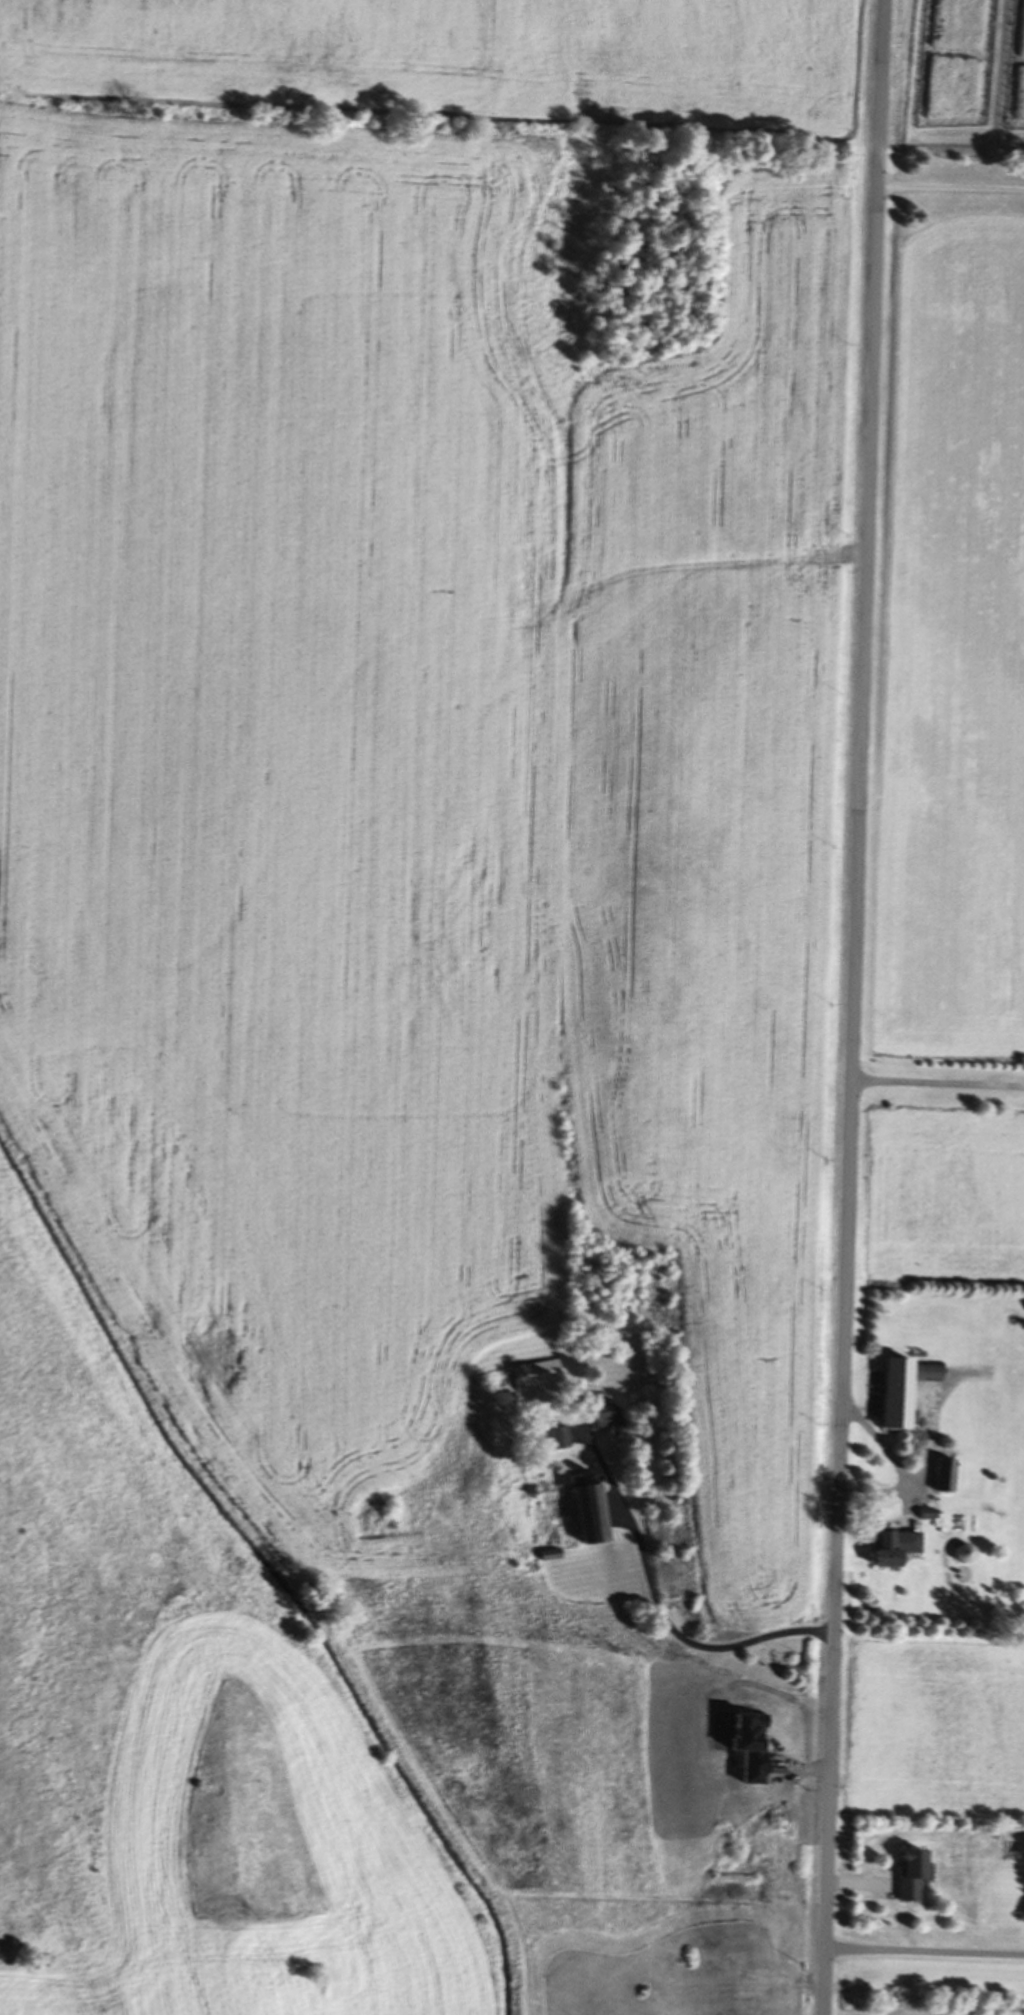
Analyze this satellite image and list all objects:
road: (950, 196)
road: (852, 1007)
road: (937, 1087)
building: (536, 1377)
building: (905, 1390)
building: (609, 1420)
building: (560, 1441)
building: (948, 1475)
building: (592, 1516)
building: (928, 1516)
building: (894, 1546)
building: (967, 1554)
silo: (967, 1554)
road: (658, 1612)
building: (915, 1876)
road: (926, 1953)

